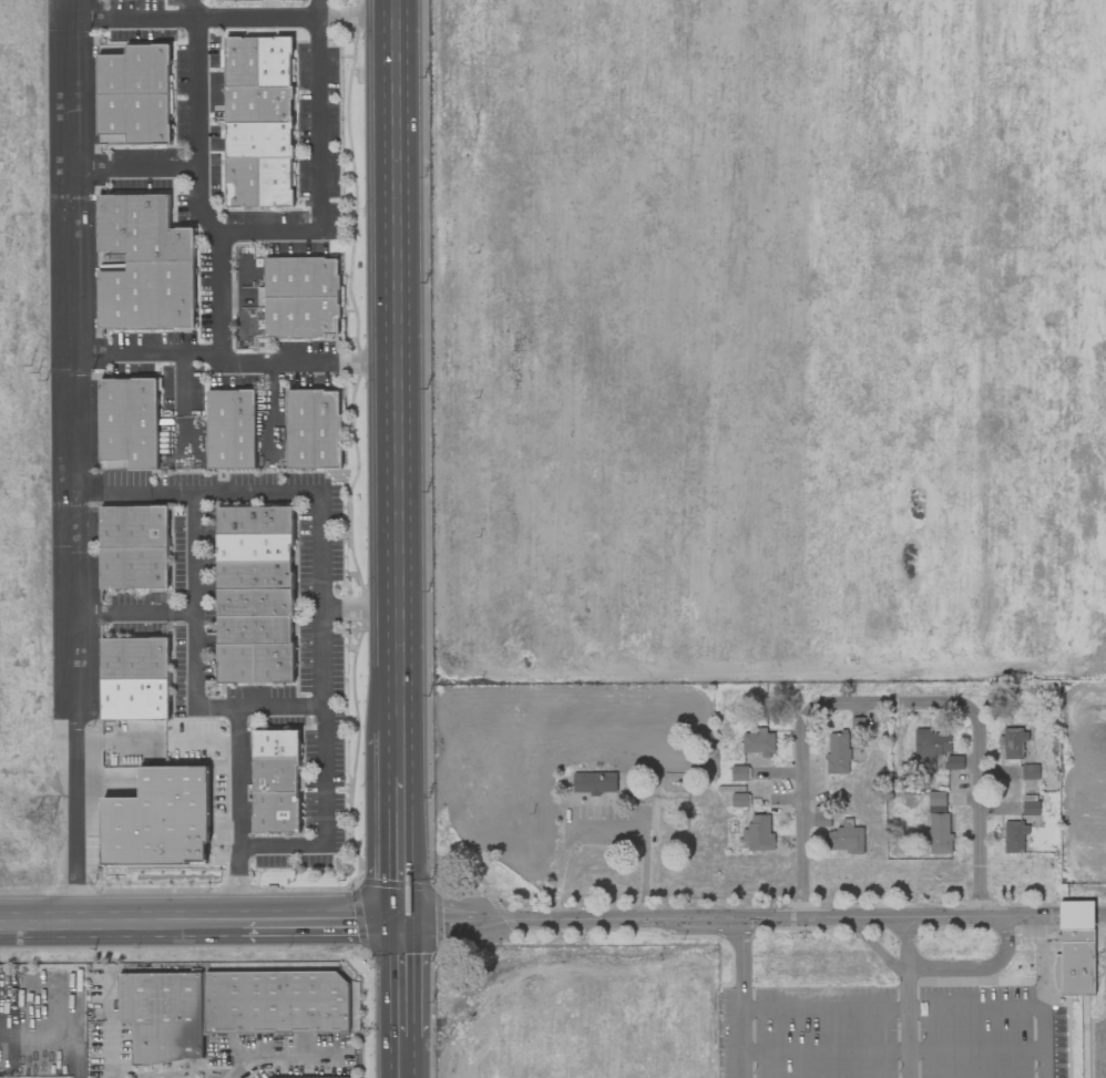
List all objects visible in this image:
building: (231, 0)
road: (193, 8)
road: (236, 17)
building: (274, 61)
building: (240, 62)
building: (133, 69)
building: (258, 104)
building: (133, 119)
road: (196, 127)
building: (258, 140)
road: (135, 167)
building: (243, 183)
building: (275, 183)
building: (141, 229)
road: (246, 230)
building: (300, 277)
building: (147, 296)
building: (301, 316)
road: (309, 363)
road: (399, 366)
road: (182, 383)
road: (275, 393)
building: (129, 422)
building: (231, 429)
building: (314, 429)
road: (75, 462)
road: (134, 491)
building: (255, 520)
building: (133, 526)
road: (372, 538)
road: (422, 538)
building: (254, 547)
building: (133, 567)
road: (194, 567)
building: (254, 575)
building: (254, 602)
road: (135, 610)
building: (254, 629)
building: (134, 658)
building: (236, 663)
building: (275, 663)
building: (134, 699)
road: (891, 701)
road: (281, 706)
building: (857, 725)
building: (759, 742)
building: (1014, 742)
building: (276, 743)
road: (157, 745)
building: (934, 751)
building: (838, 752)
road: (402, 754)
road: (325, 769)
building: (1030, 772)
building: (739, 773)
building: (275, 774)
building: (594, 783)
building: (739, 800)
building: (1030, 808)
building: (276, 812)
road: (605, 814)
building: (158, 819)
power tower: (45, 824)
building: (938, 824)
building: (759, 833)
building: (1015, 836)
building: (844, 840)
road: (402, 850)
road: (1055, 912)
road: (1078, 912)
road: (1102, 912)
road: (726, 916)
road: (321, 922)
road: (120, 924)
building: (1076, 948)
road: (936, 971)
road: (403, 979)
road: (907, 995)
road: (741, 997)
road: (1013, 1006)
building: (225, 1007)
road: (825, 1007)
parking lot: (889, 1031)
parking lot: (1095, 1035)
road: (894, 1051)
road: (284, 1054)
road: (404, 1057)
building: (336, 1077)

